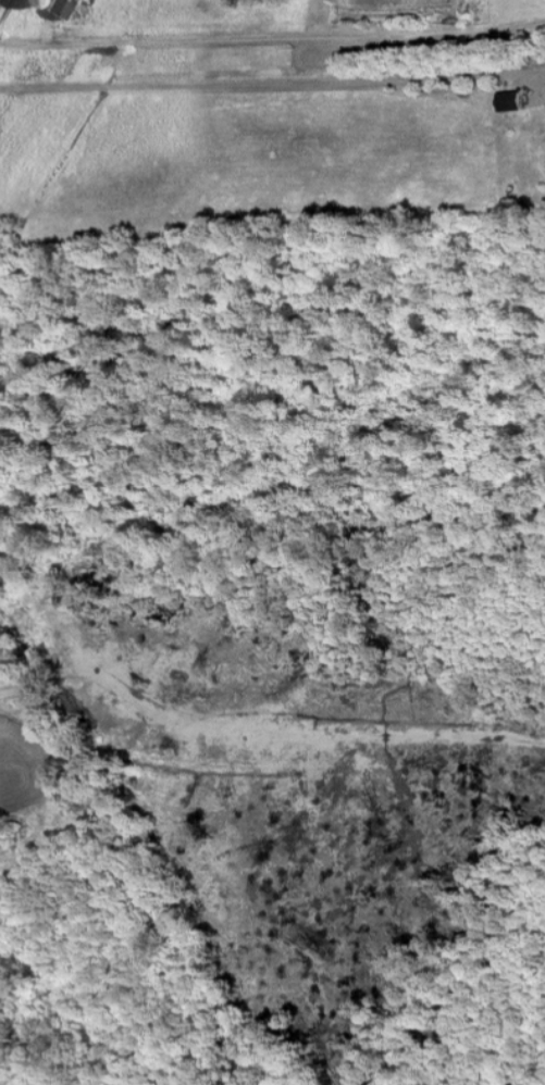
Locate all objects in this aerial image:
road: (0, 0)
building: (69, 0)
building: (61, 10)
building: (511, 102)

